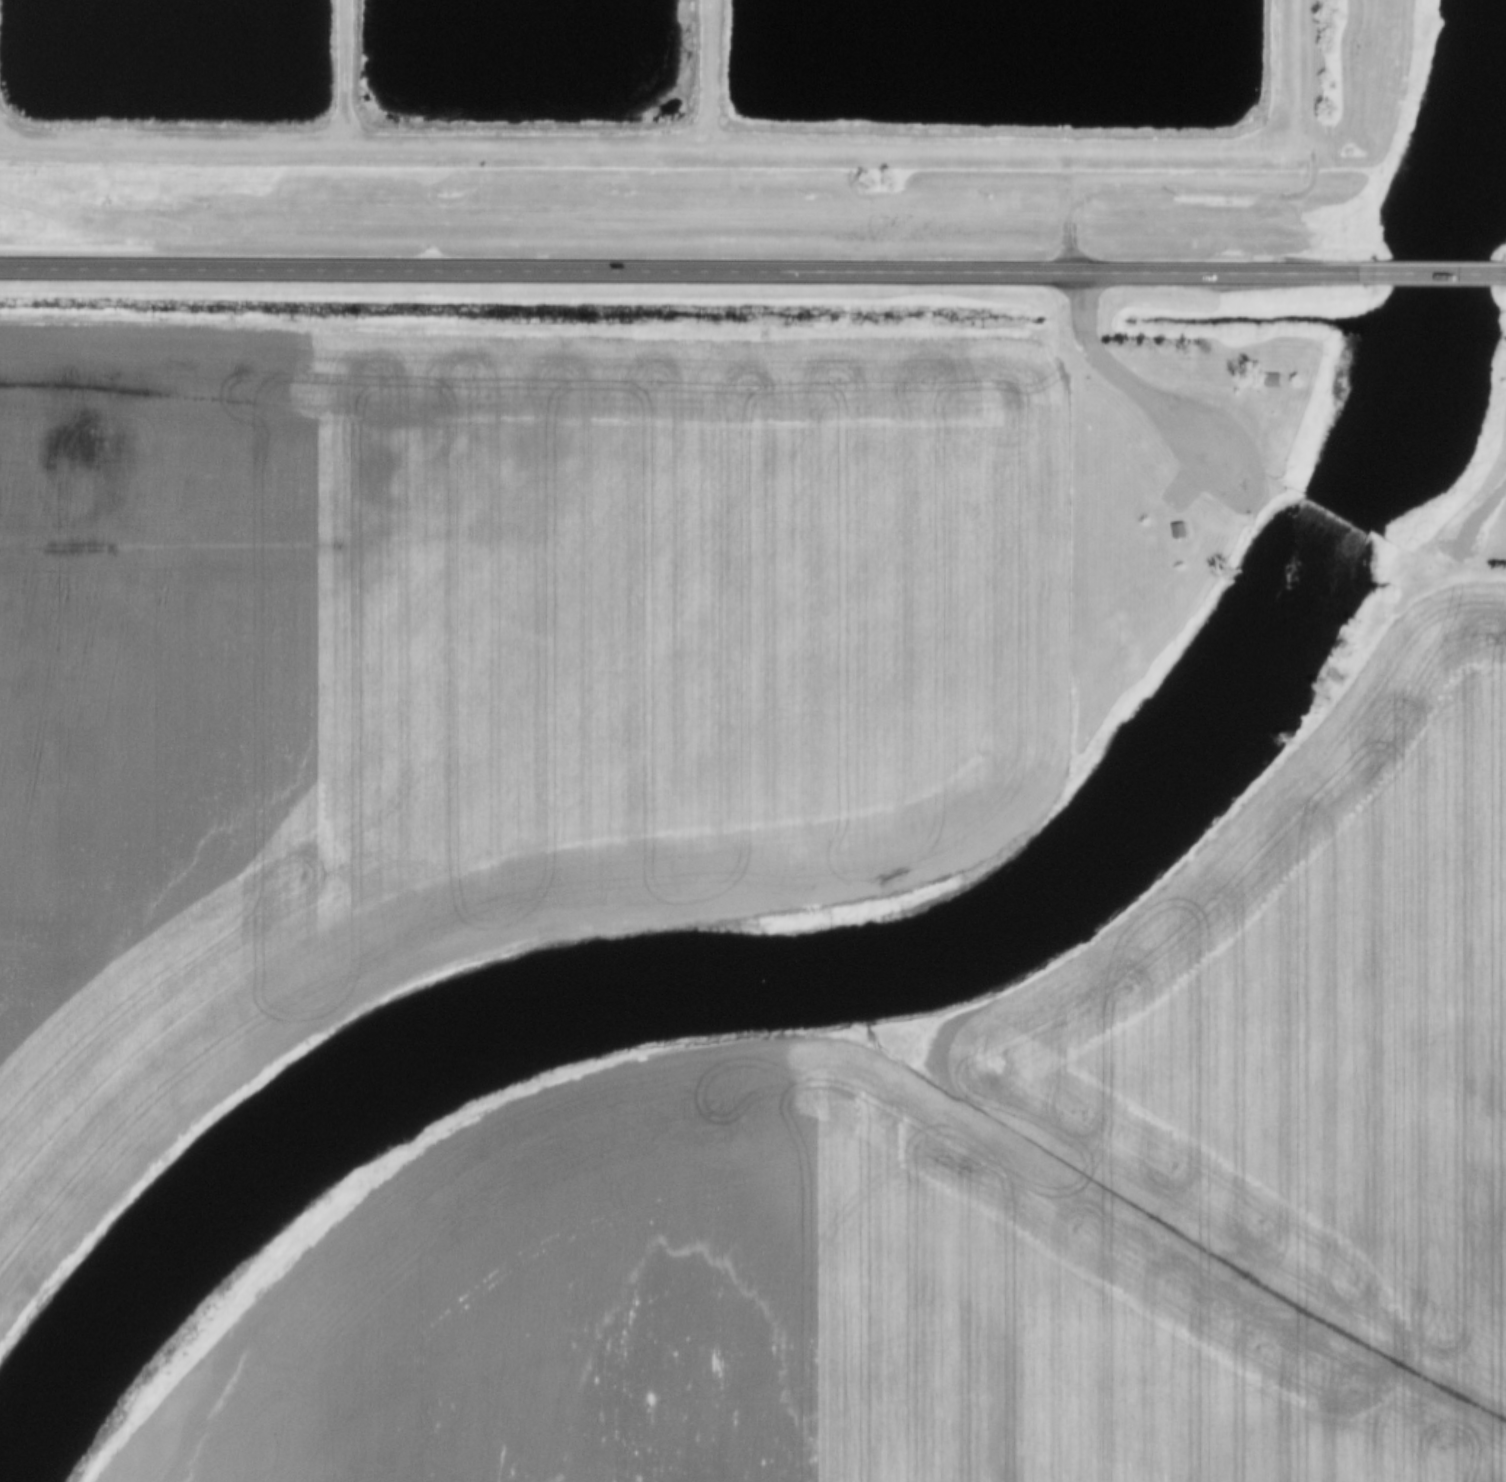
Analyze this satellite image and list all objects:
road: (343, 70)
road: (715, 71)
river: (1502, 110)
road: (708, 142)
road: (1073, 208)
road: (212, 272)
road: (895, 272)
road: (1429, 272)
road: (1500, 273)
building: (1280, 378)
road: (1143, 390)
parking lot: (1193, 448)
road: (1482, 506)
building: (1186, 528)
building: (1180, 531)
river: (888, 965)

